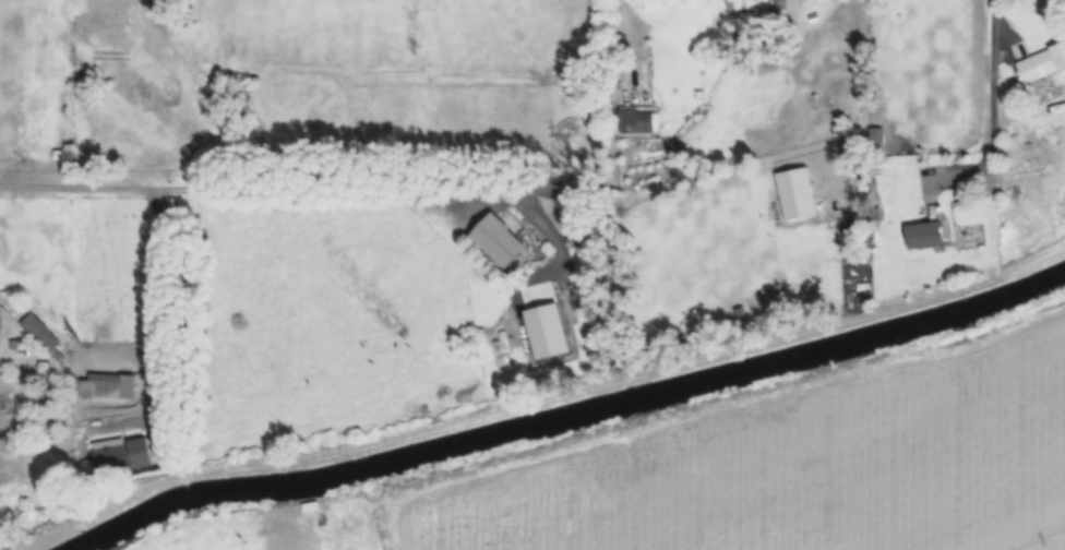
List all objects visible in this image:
building: (770, 7)
building: (1041, 63)
road: (996, 97)
building: (638, 119)
building: (874, 136)
road: (234, 184)
building: (922, 236)
building: (494, 241)
building: (39, 334)
building: (2, 386)
building: (105, 386)
building: (120, 455)
crop: (798, 467)

